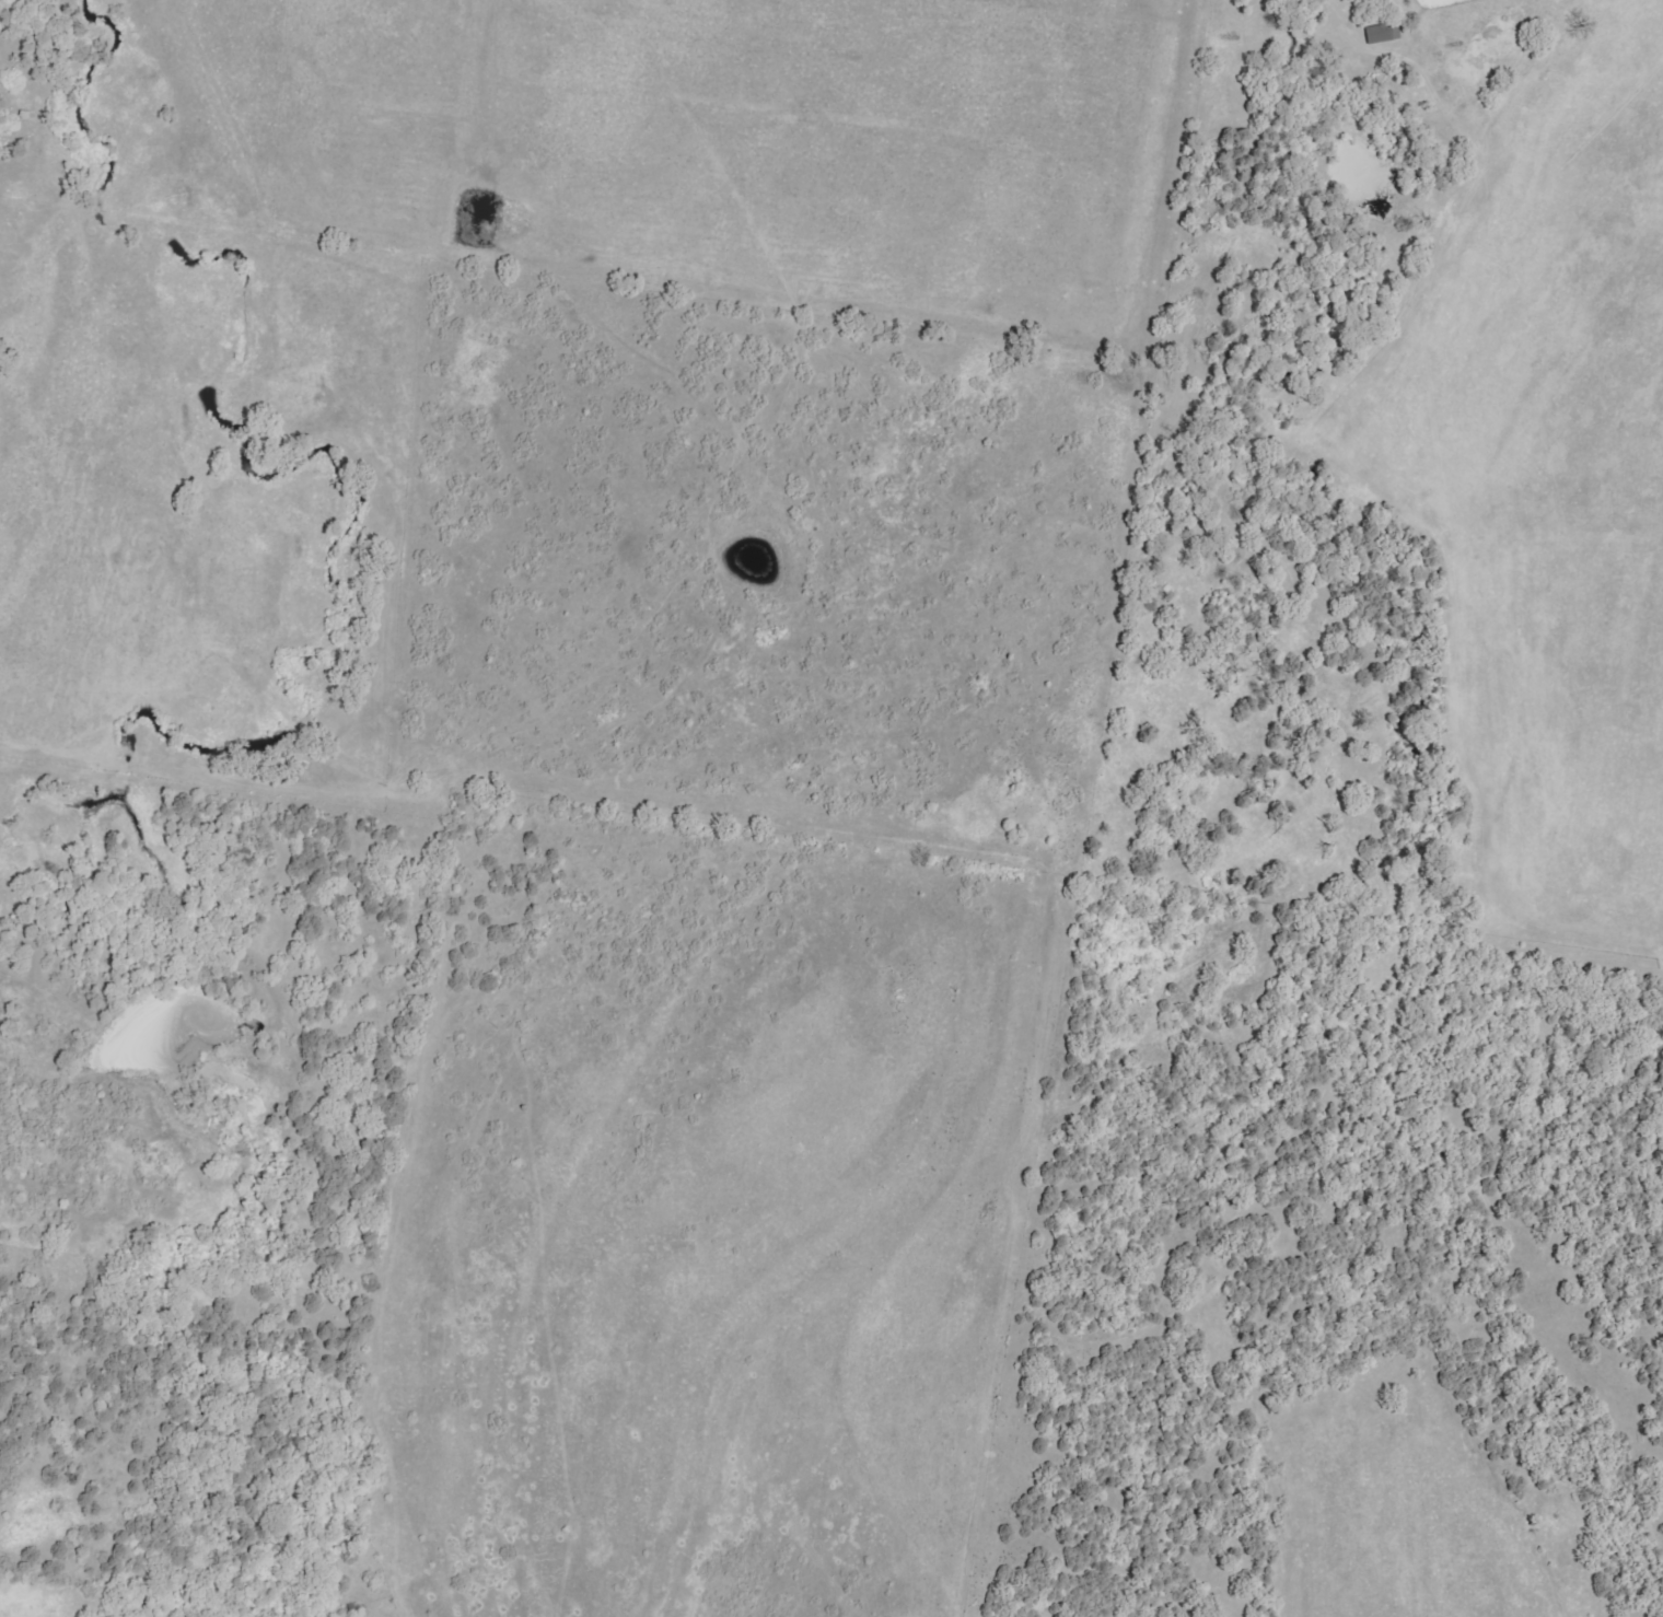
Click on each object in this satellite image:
building: (1383, 33)

